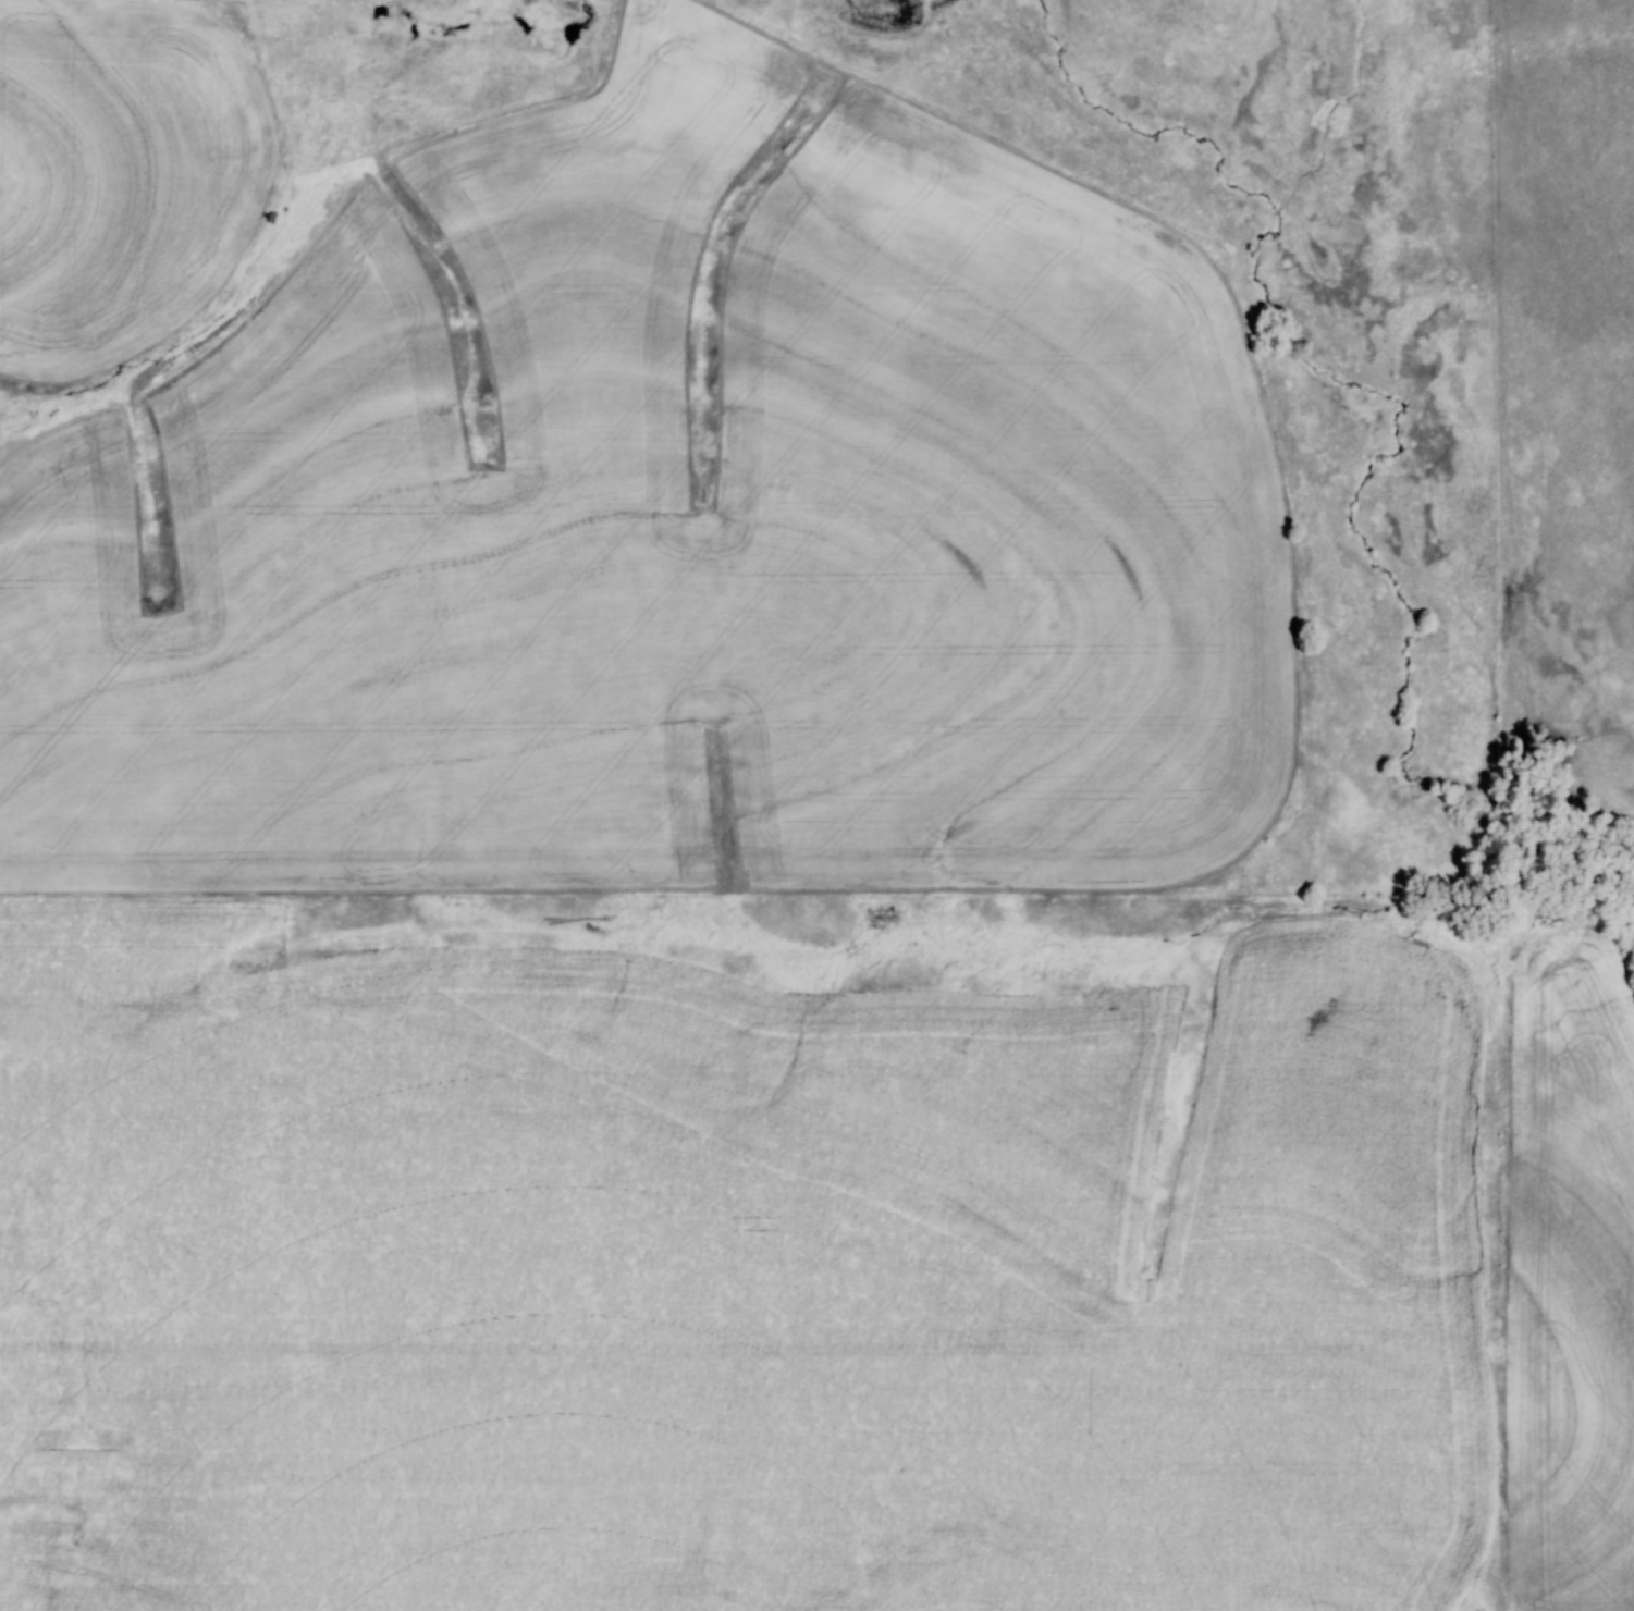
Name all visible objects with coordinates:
road: (3, 1502)
building: (26, 1532)

